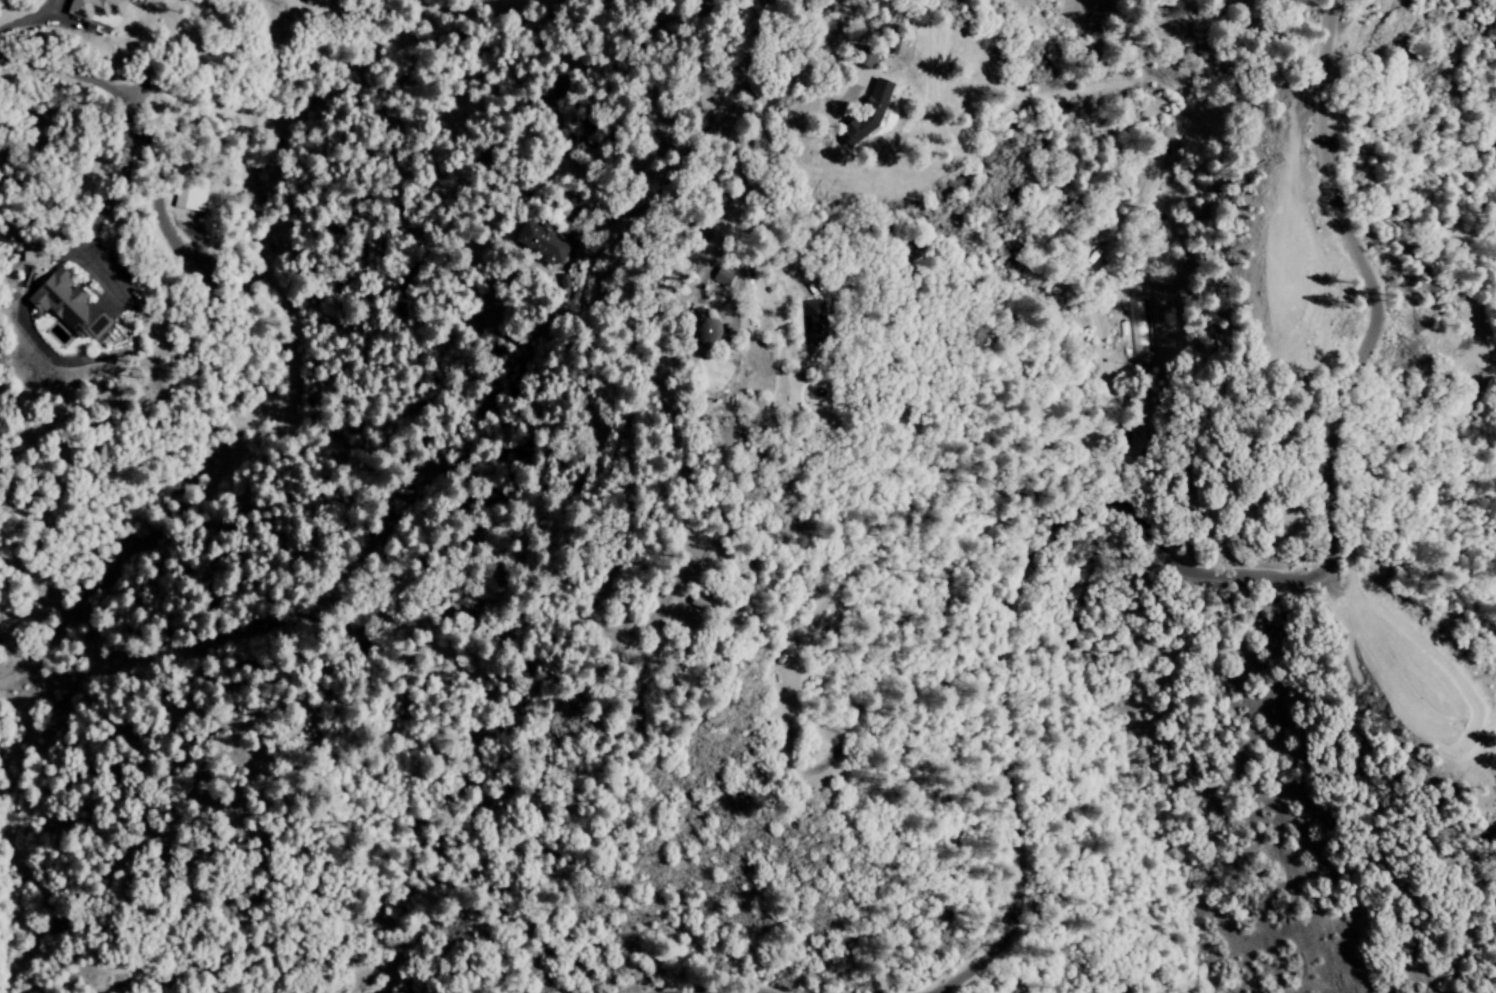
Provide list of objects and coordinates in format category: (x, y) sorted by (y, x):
building: (93, 8)
road: (31, 17)
building: (863, 56)
road: (806, 71)
road: (125, 113)
building: (190, 193)
building: (542, 242)
building: (720, 278)
building: (64, 307)
building: (815, 321)
building: (1139, 328)
building: (704, 331)
road: (1215, 571)

